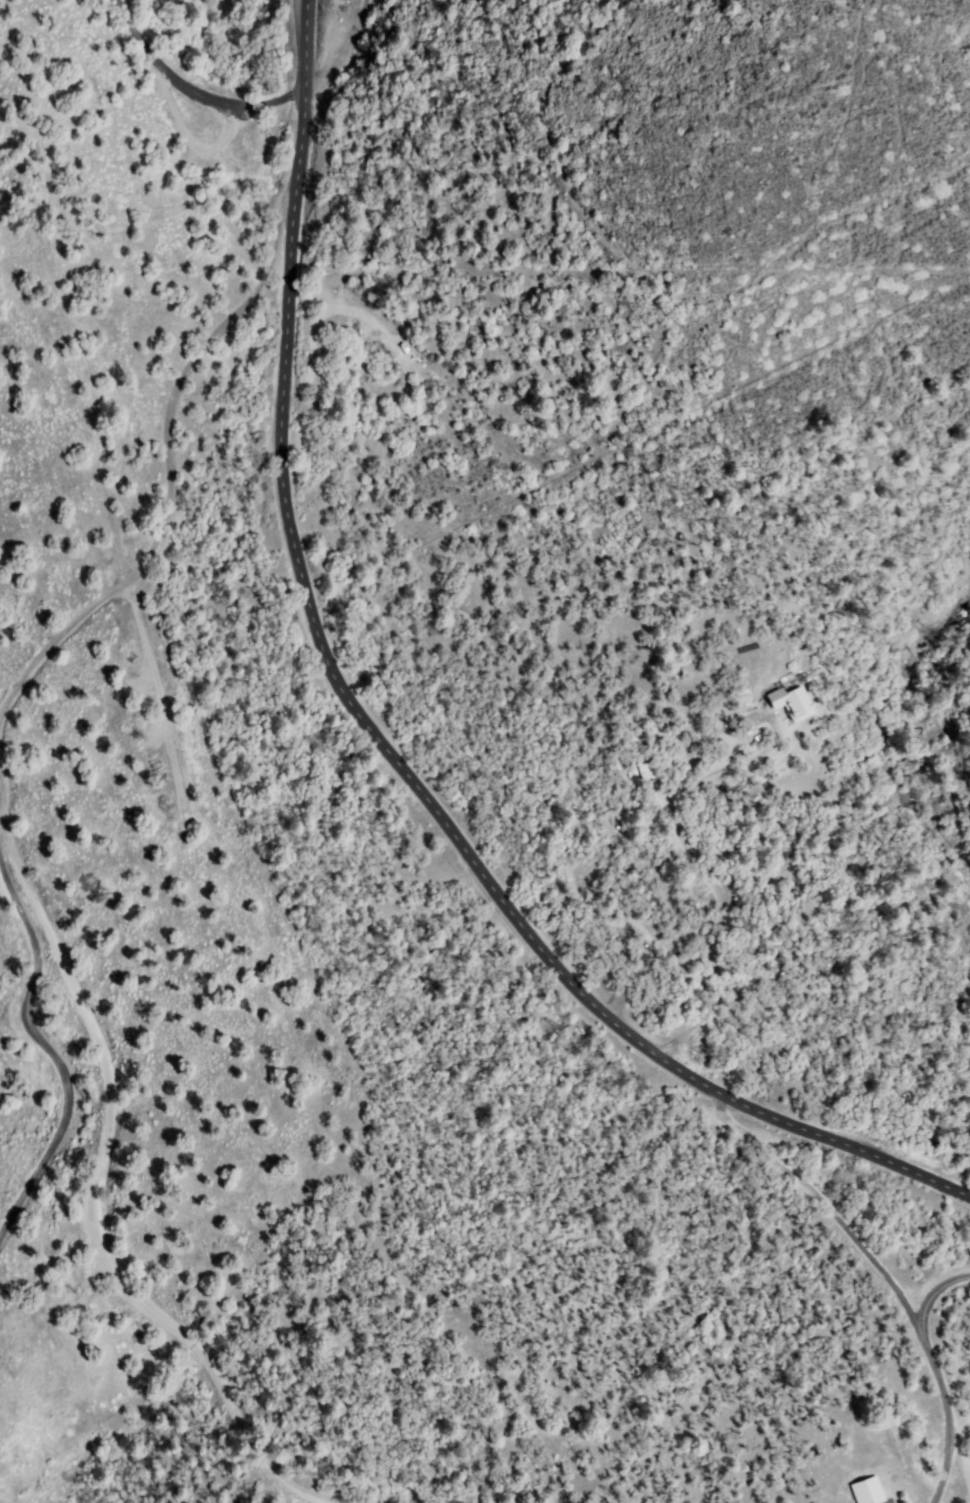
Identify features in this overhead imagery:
road: (343, 52)
road: (189, 92)
road: (172, 474)
road: (374, 747)
road: (33, 1011)
road: (101, 1199)
road: (872, 1260)
road: (934, 1297)
road: (949, 1456)
building: (868, 1491)

